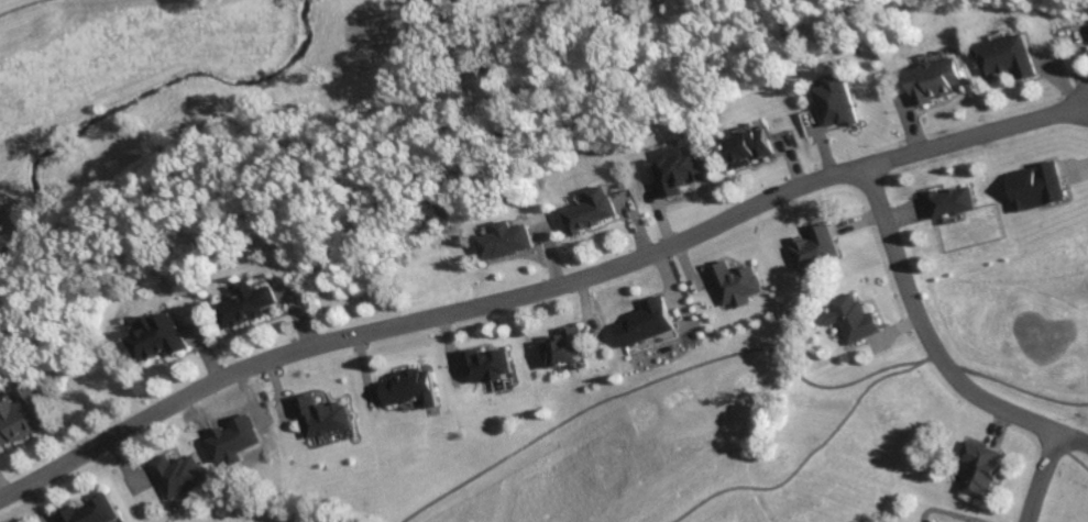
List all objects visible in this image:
building: (1005, 56)
building: (935, 78)
building: (837, 99)
building: (746, 146)
building: (679, 169)
building: (1036, 185)
building: (949, 200)
building: (591, 209)
road: (1064, 222)
building: (504, 240)
building: (812, 243)
building: (735, 282)
road: (537, 287)
building: (245, 304)
building: (851, 318)
building: (645, 321)
building: (156, 336)
road: (933, 342)
building: (563, 346)
building: (487, 363)
building: (409, 387)
building: (20, 414)
building: (322, 415)
building: (979, 468)
building: (176, 473)
road: (1047, 477)
building: (90, 510)

